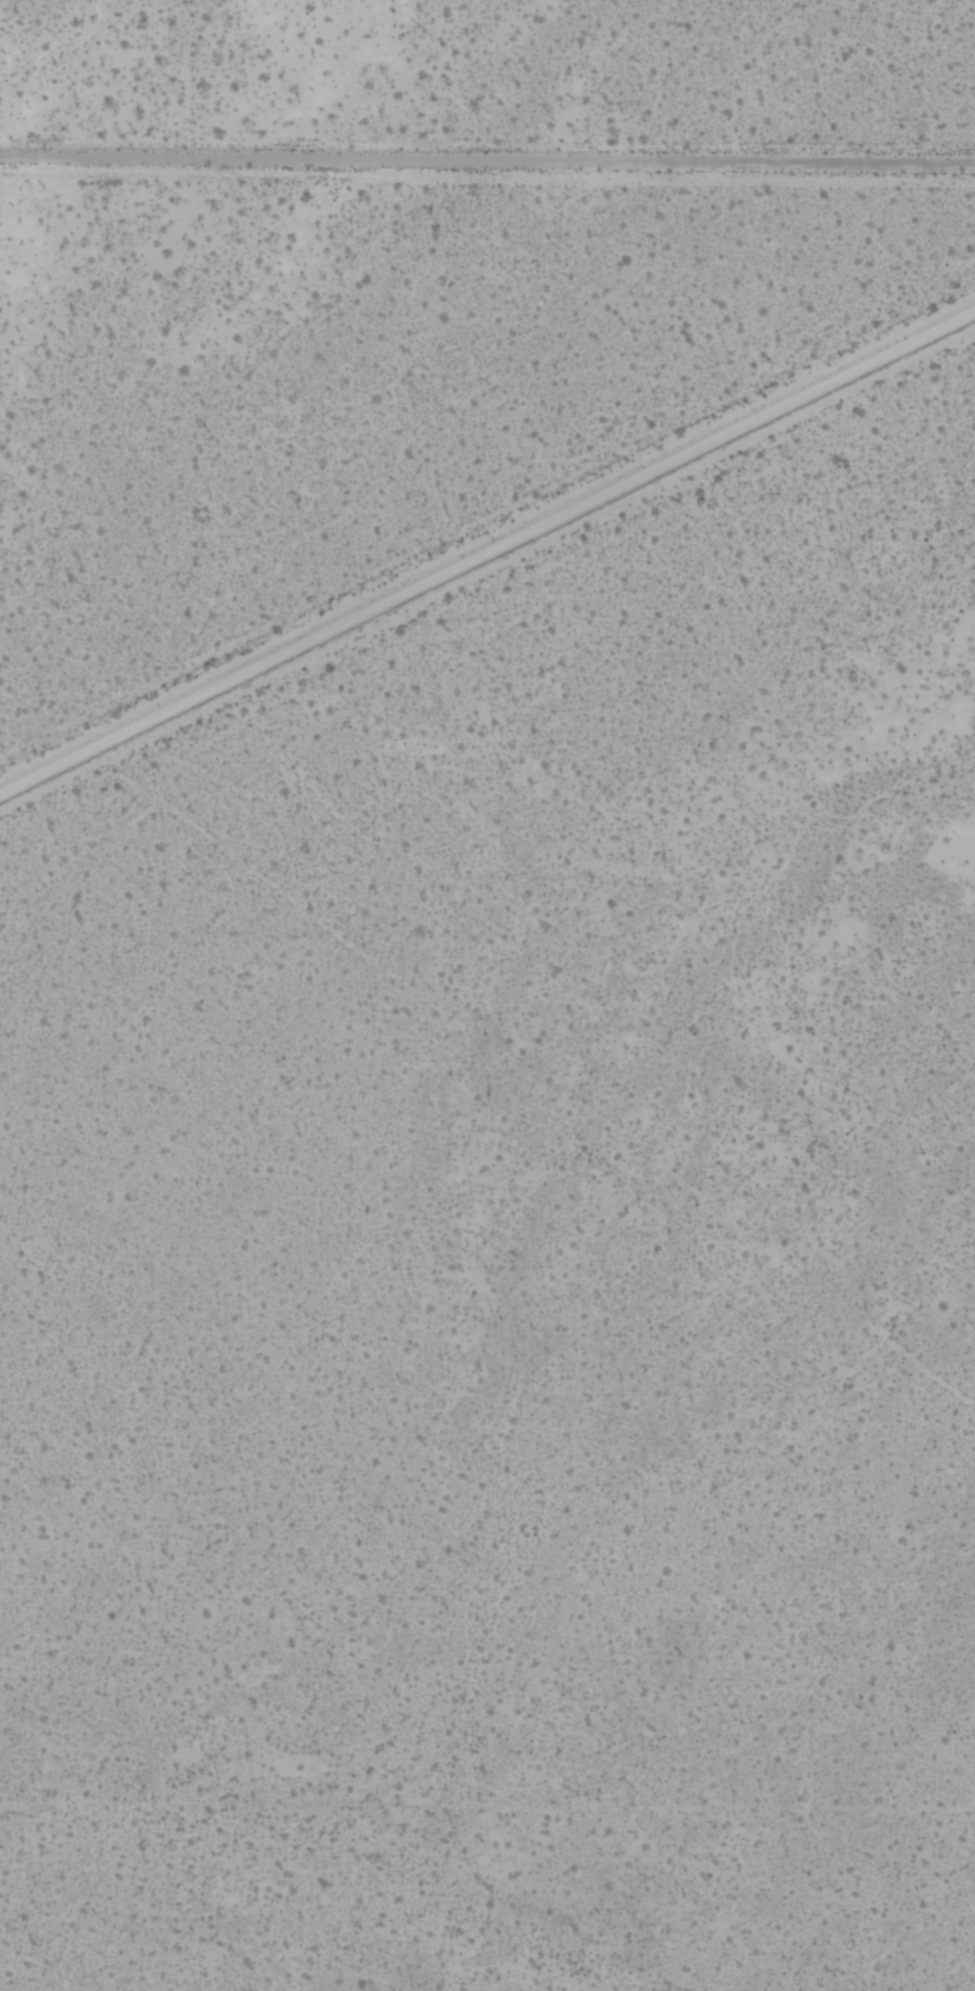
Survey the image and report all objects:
road: (487, 167)
road: (487, 556)

